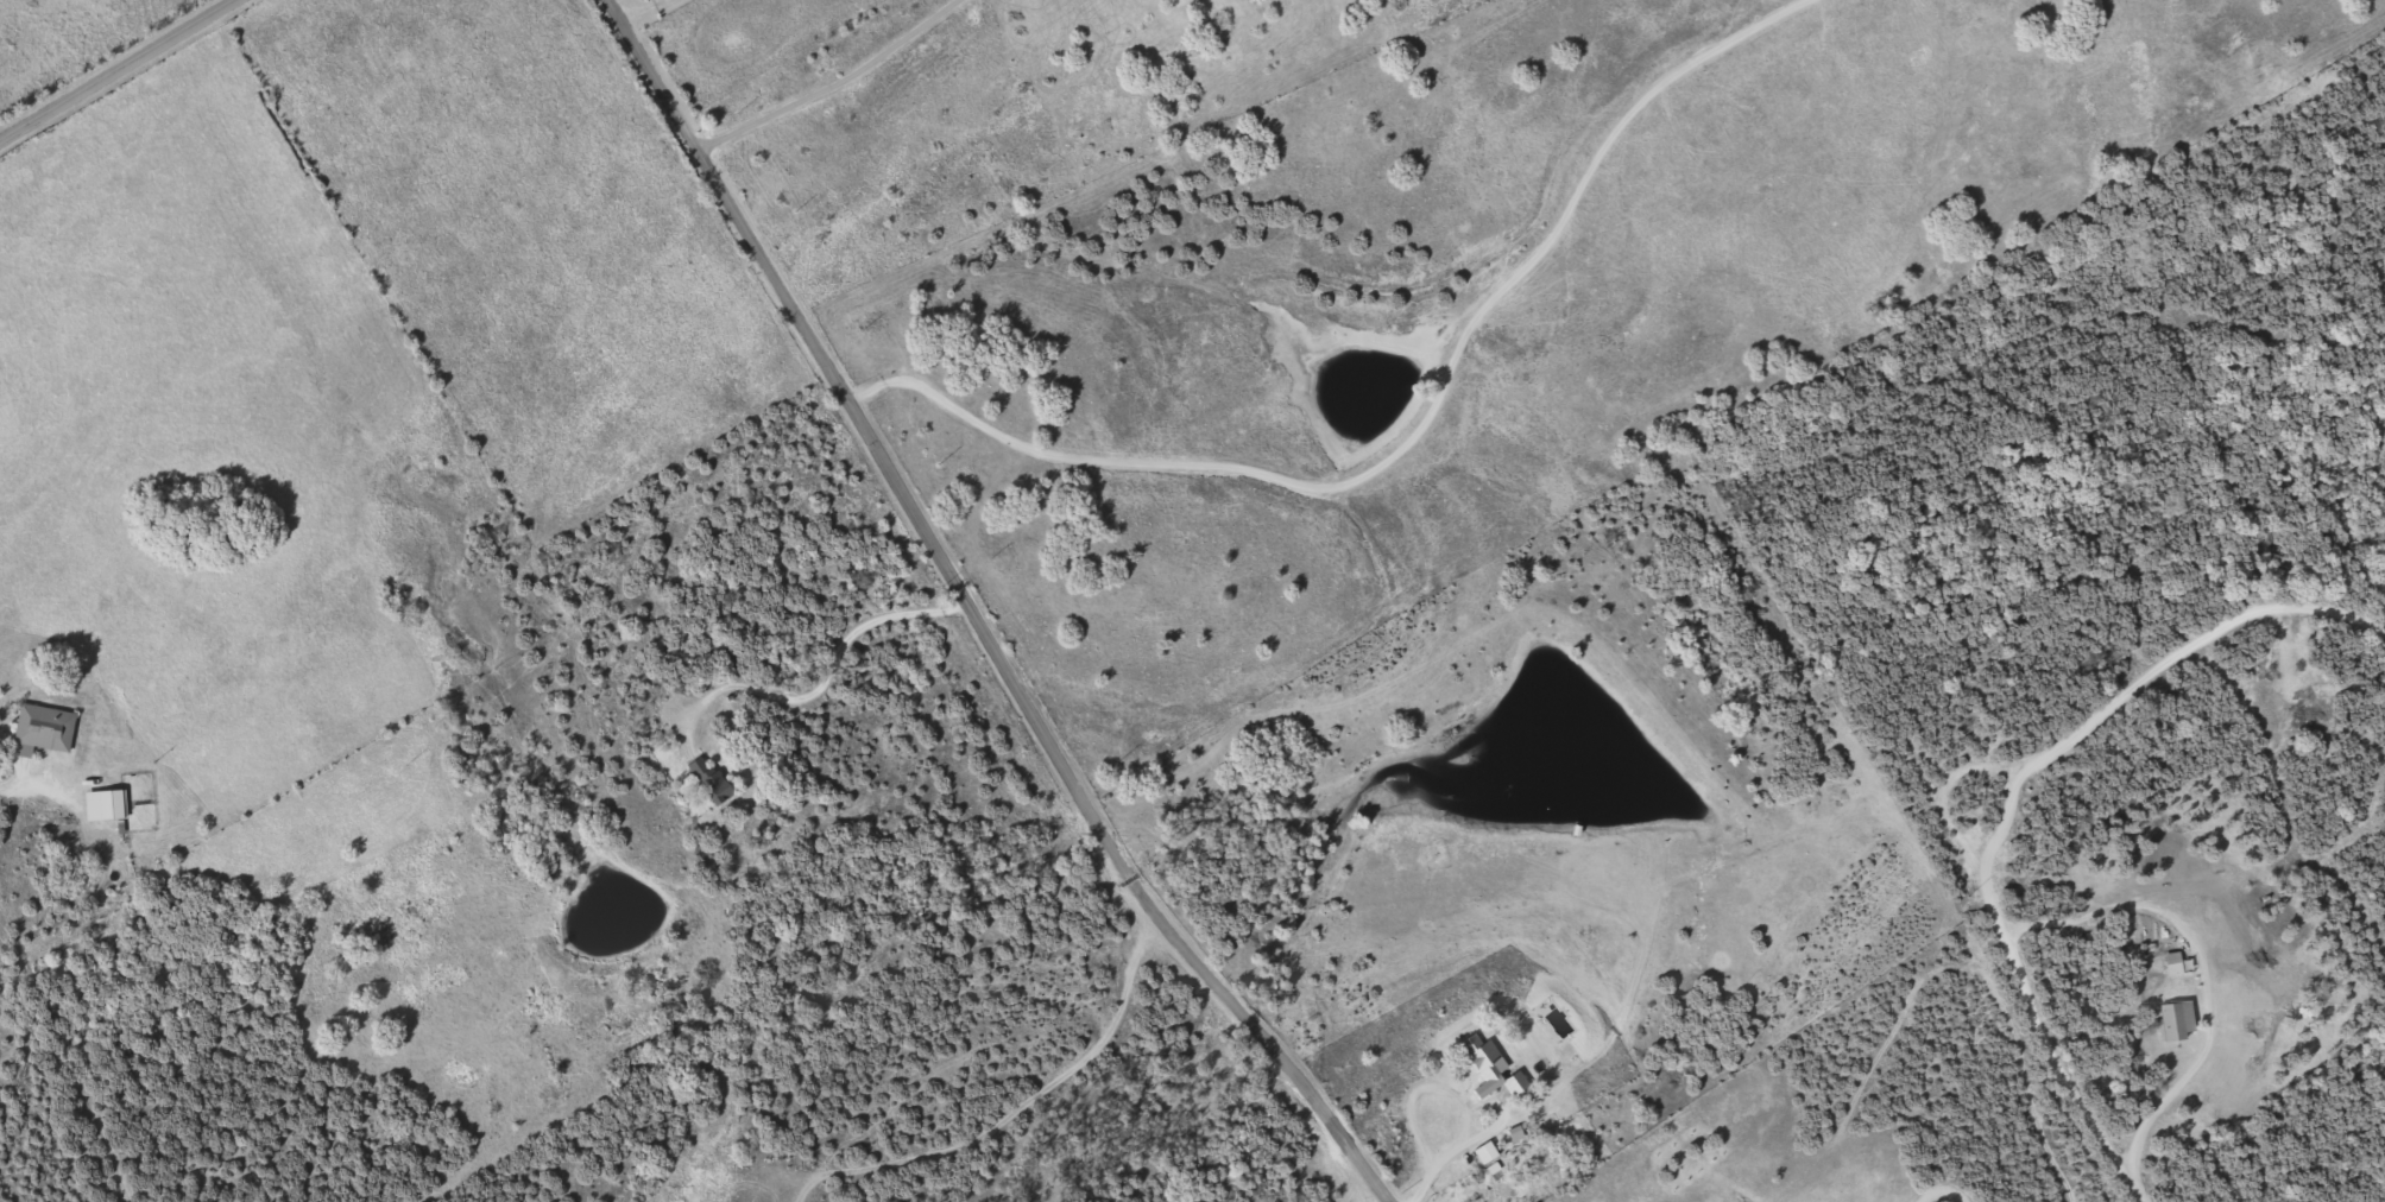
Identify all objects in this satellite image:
road: (120, 71)
road: (1413, 436)
road: (973, 616)
road: (829, 671)
road: (2140, 688)
building: (45, 730)
building: (712, 780)
road: (2289, 795)
building: (114, 805)
building: (2173, 963)
road: (2202, 968)
building: (2176, 1023)
road: (2053, 1051)
building: (1494, 1065)
building: (1488, 1153)

